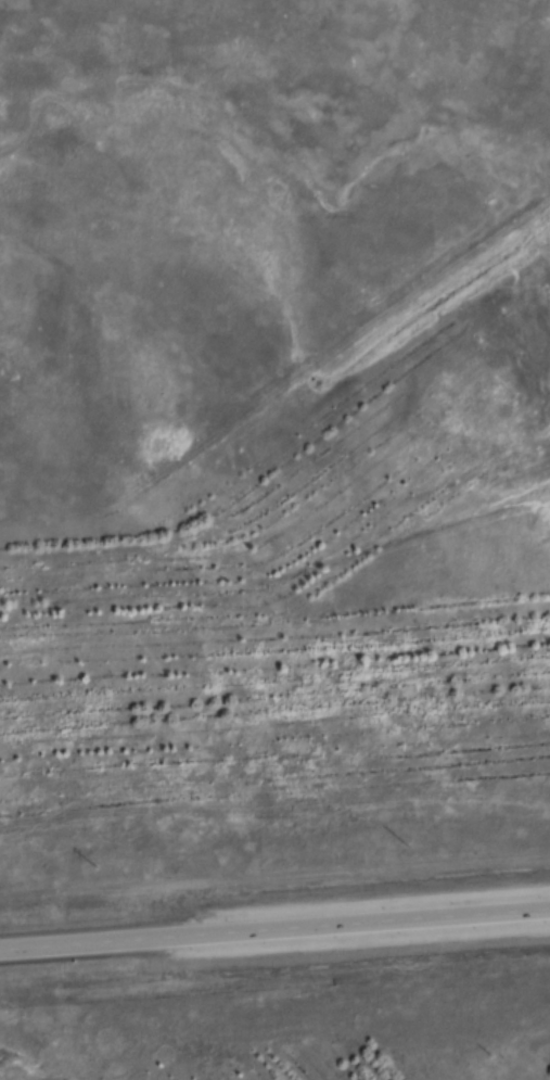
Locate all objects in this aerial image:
road: (274, 931)

